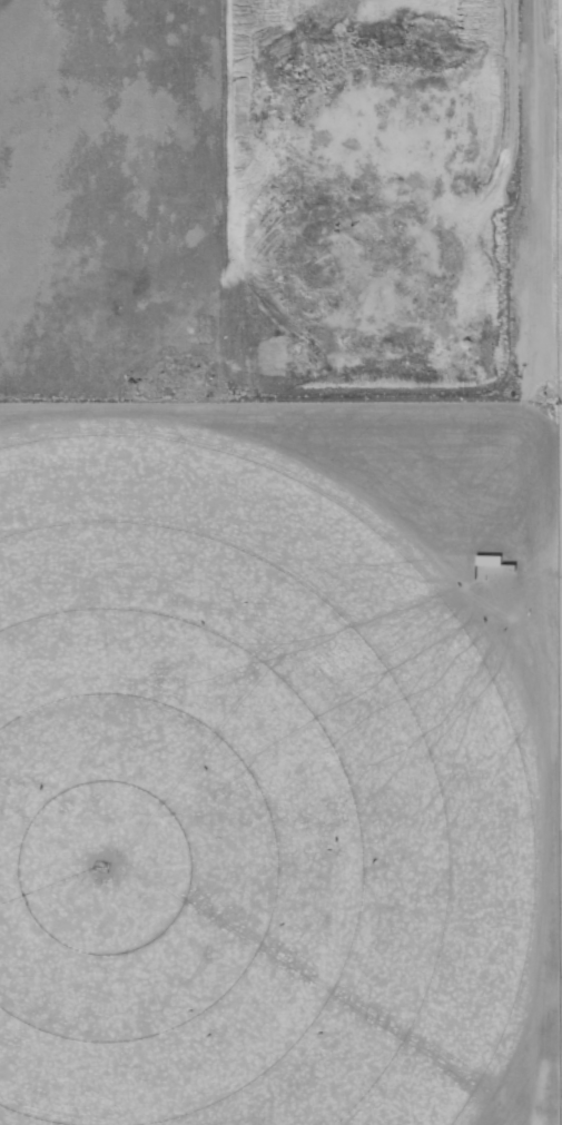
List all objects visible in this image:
crop: (246, 797)

